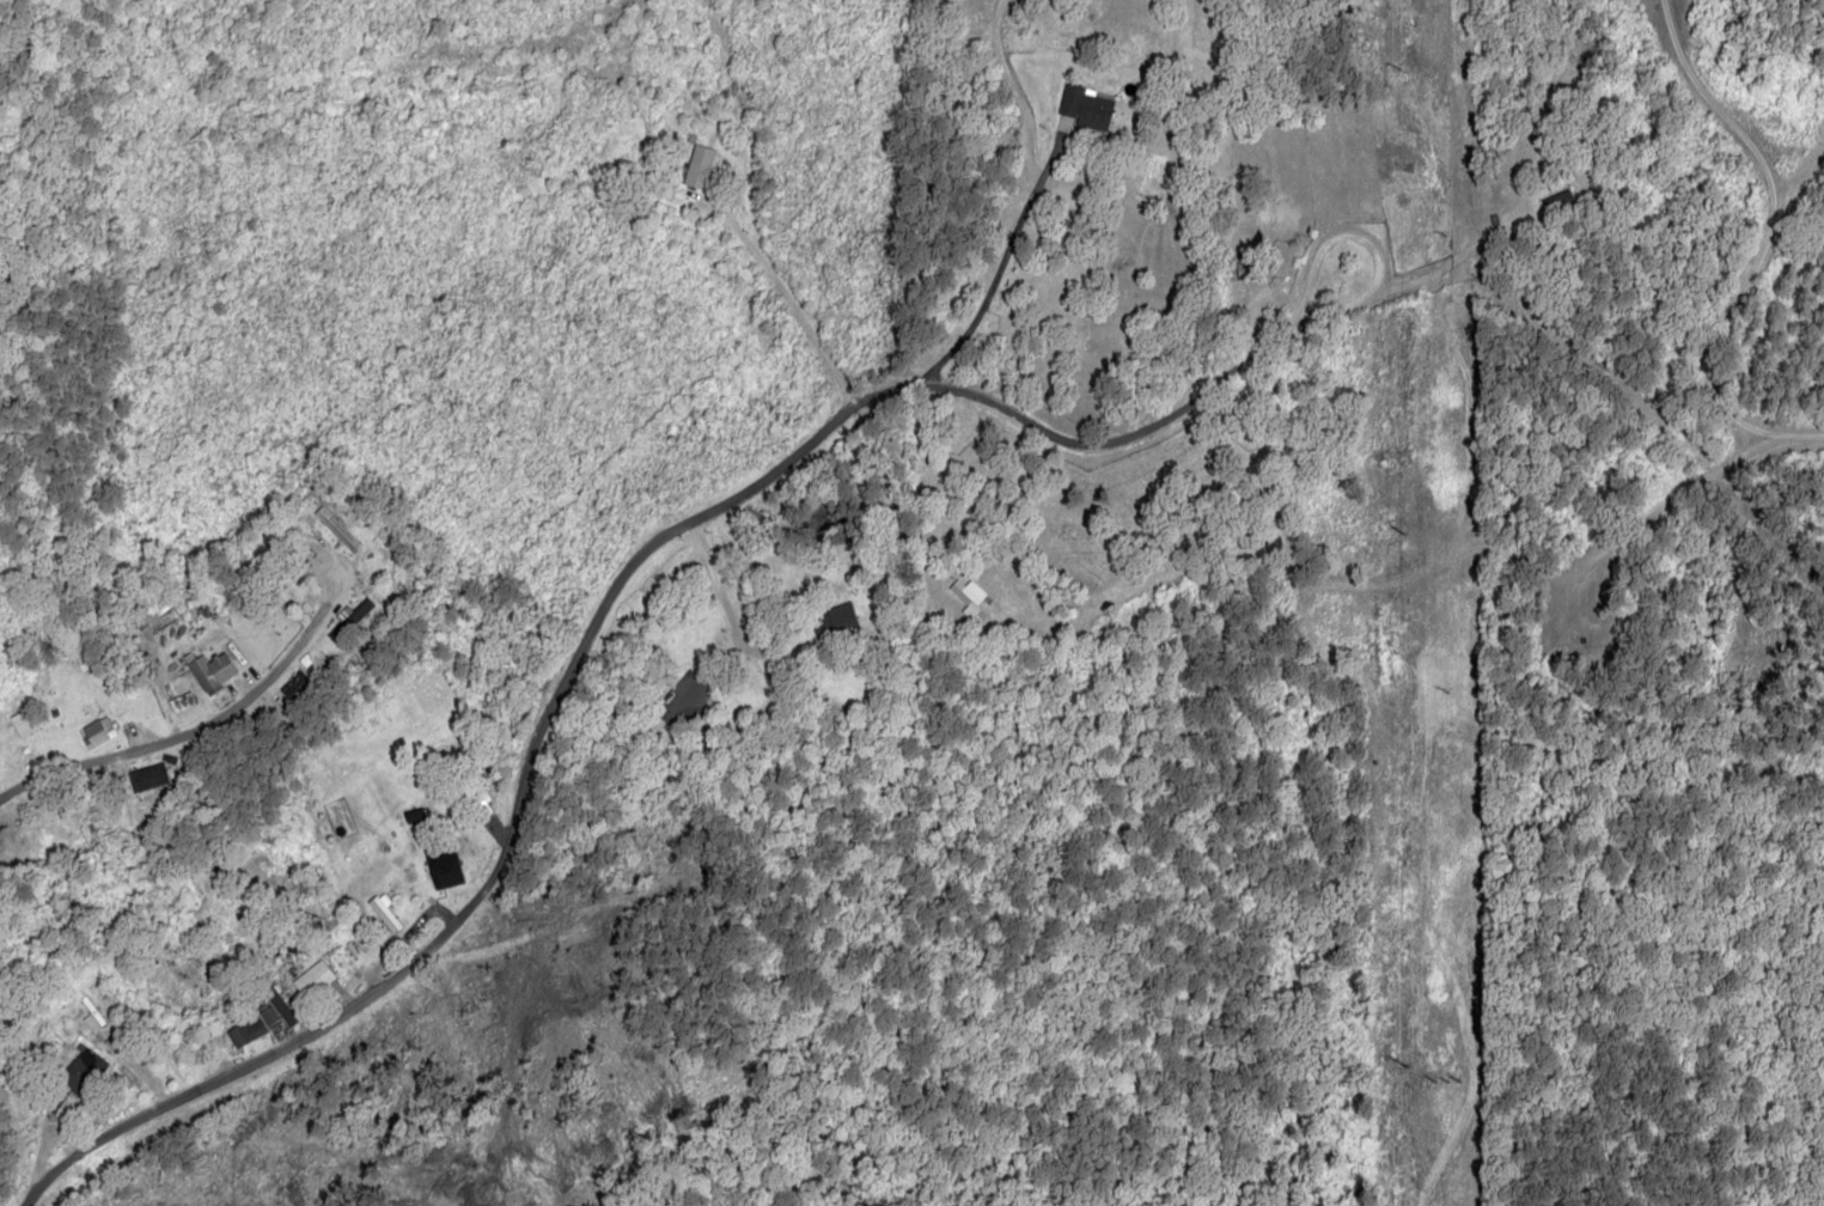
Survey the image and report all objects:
building: (1085, 105)
building: (697, 165)
road: (1698, 274)
building: (337, 529)
road: (667, 595)
building: (971, 598)
building: (834, 623)
building: (212, 668)
road: (197, 720)
building: (96, 731)
building: (147, 776)
building: (476, 794)
building: (413, 815)
road: (1035, 816)
road: (809, 863)
building: (444, 872)
building: (384, 912)
building: (312, 979)
building: (277, 1001)
building: (268, 1013)
building: (246, 1030)
building: (79, 1071)

